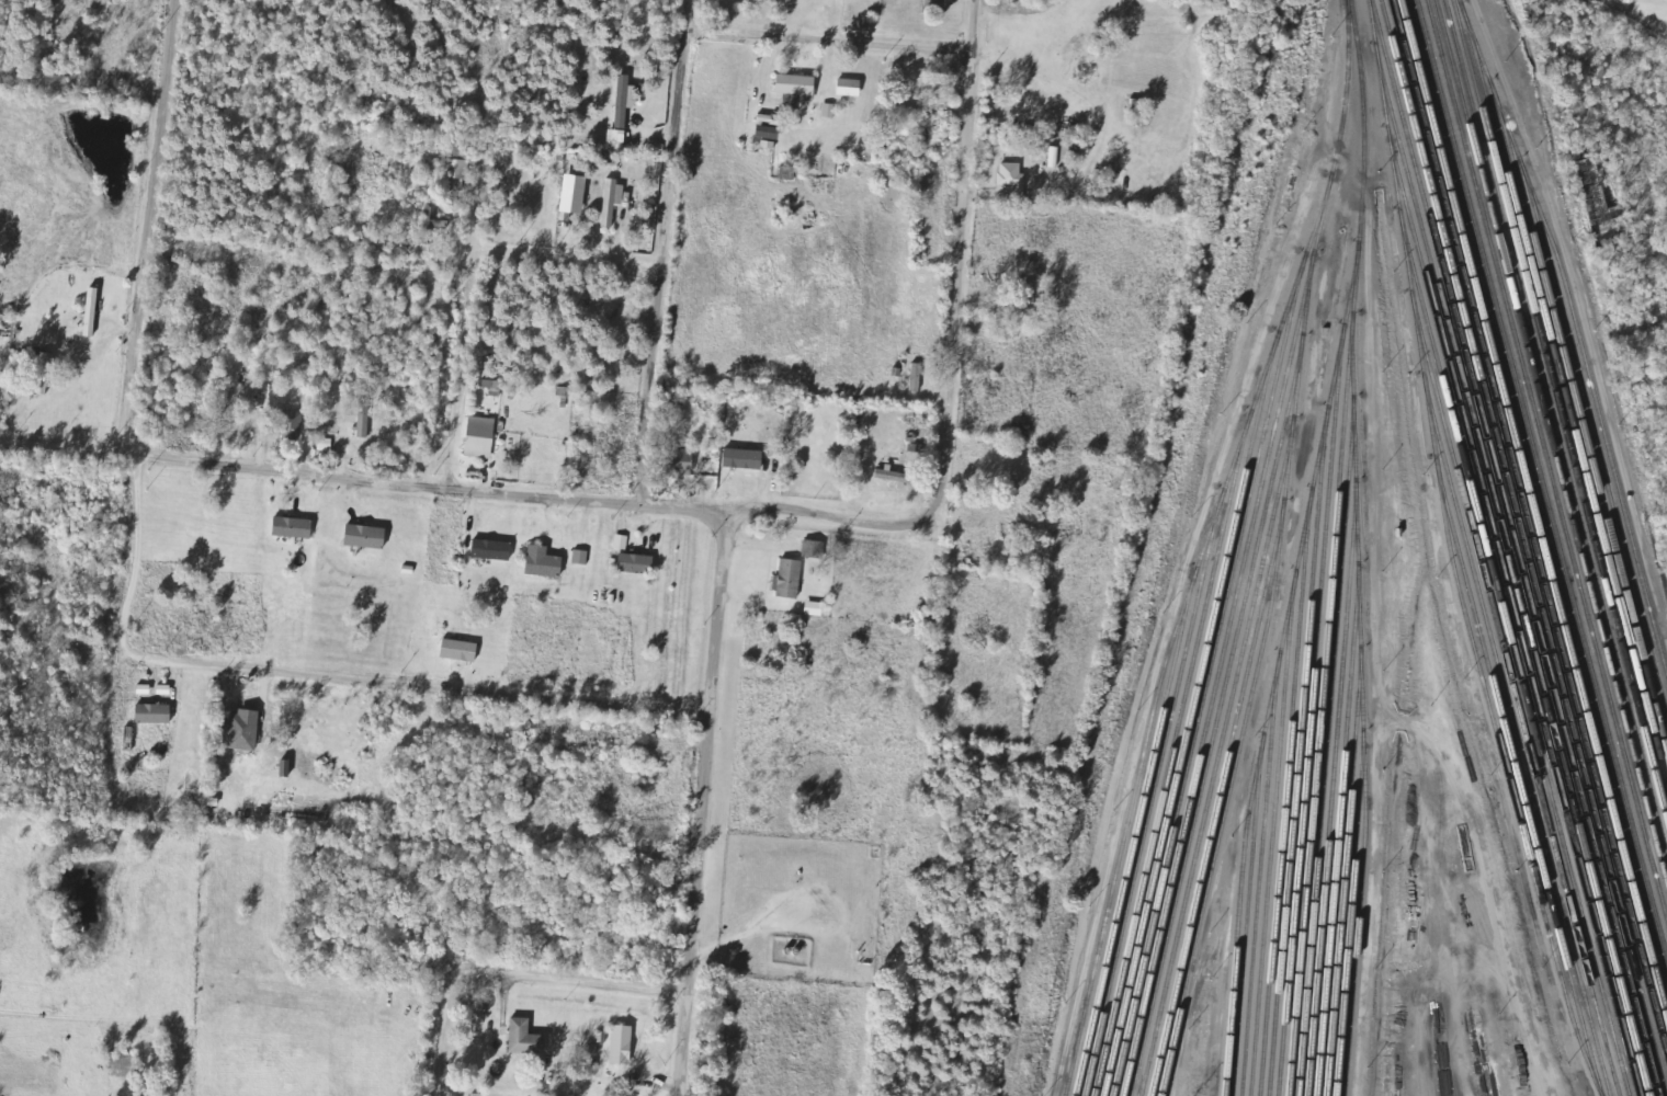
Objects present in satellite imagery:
road: (828, 41)
building: (798, 87)
building: (850, 88)
building: (624, 110)
building: (457, 164)
building: (614, 201)
building: (1604, 217)
building: (435, 219)
road: (140, 230)
road: (662, 251)
road: (565, 260)
road: (955, 275)
building: (93, 312)
road: (454, 373)
building: (45, 374)
building: (917, 378)
railway: (1569, 384)
railway: (1563, 391)
railway: (1585, 403)
railway: (1560, 408)
building: (365, 420)
railway: (1599, 420)
building: (293, 425)
railway: (1555, 425)
building: (196, 426)
building: (481, 437)
railway: (1550, 442)
building: (745, 459)
railway: (1546, 459)
building: (682, 461)
building: (895, 477)
railway: (1542, 477)
road: (447, 490)
railway: (1533, 512)
railway: (1529, 527)
building: (294, 528)
building: (366, 537)
railway: (1202, 545)
railway: (1299, 547)
railway: (1515, 548)
railway: (1523, 548)
building: (813, 549)
building: (492, 550)
railway: (1449, 555)
building: (581, 558)
building: (544, 562)
building: (637, 563)
building: (790, 580)
railway: (1512, 582)
building: (815, 609)
railway: (1513, 620)
railway: (1223, 646)
building: (461, 651)
railway: (1513, 659)
railway: (1323, 662)
railway: (1223, 682)
railway: (1204, 683)
road: (424, 690)
railway: (1515, 700)
railway: (1328, 709)
building: (156, 713)
railway: (1308, 717)
railway: (1187, 721)
railway: (1223, 722)
building: (246, 730)
railway: (1517, 742)
railway: (1335, 746)
railway: (1297, 756)
railway: (1224, 763)
railway: (1168, 764)
railway: (1518, 781)
railway: (1340, 790)
railway: (1284, 798)
railway: (1149, 801)
railway: (1225, 802)
road: (699, 806)
railway: (1346, 831)
railway: (1132, 840)
railway: (1271, 841)
railway: (1352, 875)
railway: (1258, 880)
railway: (1357, 916)
railway: (1245, 925)
road: (558, 980)
building: (526, 1038)
road: (438, 1042)
building: (623, 1044)
building: (124, 1064)

